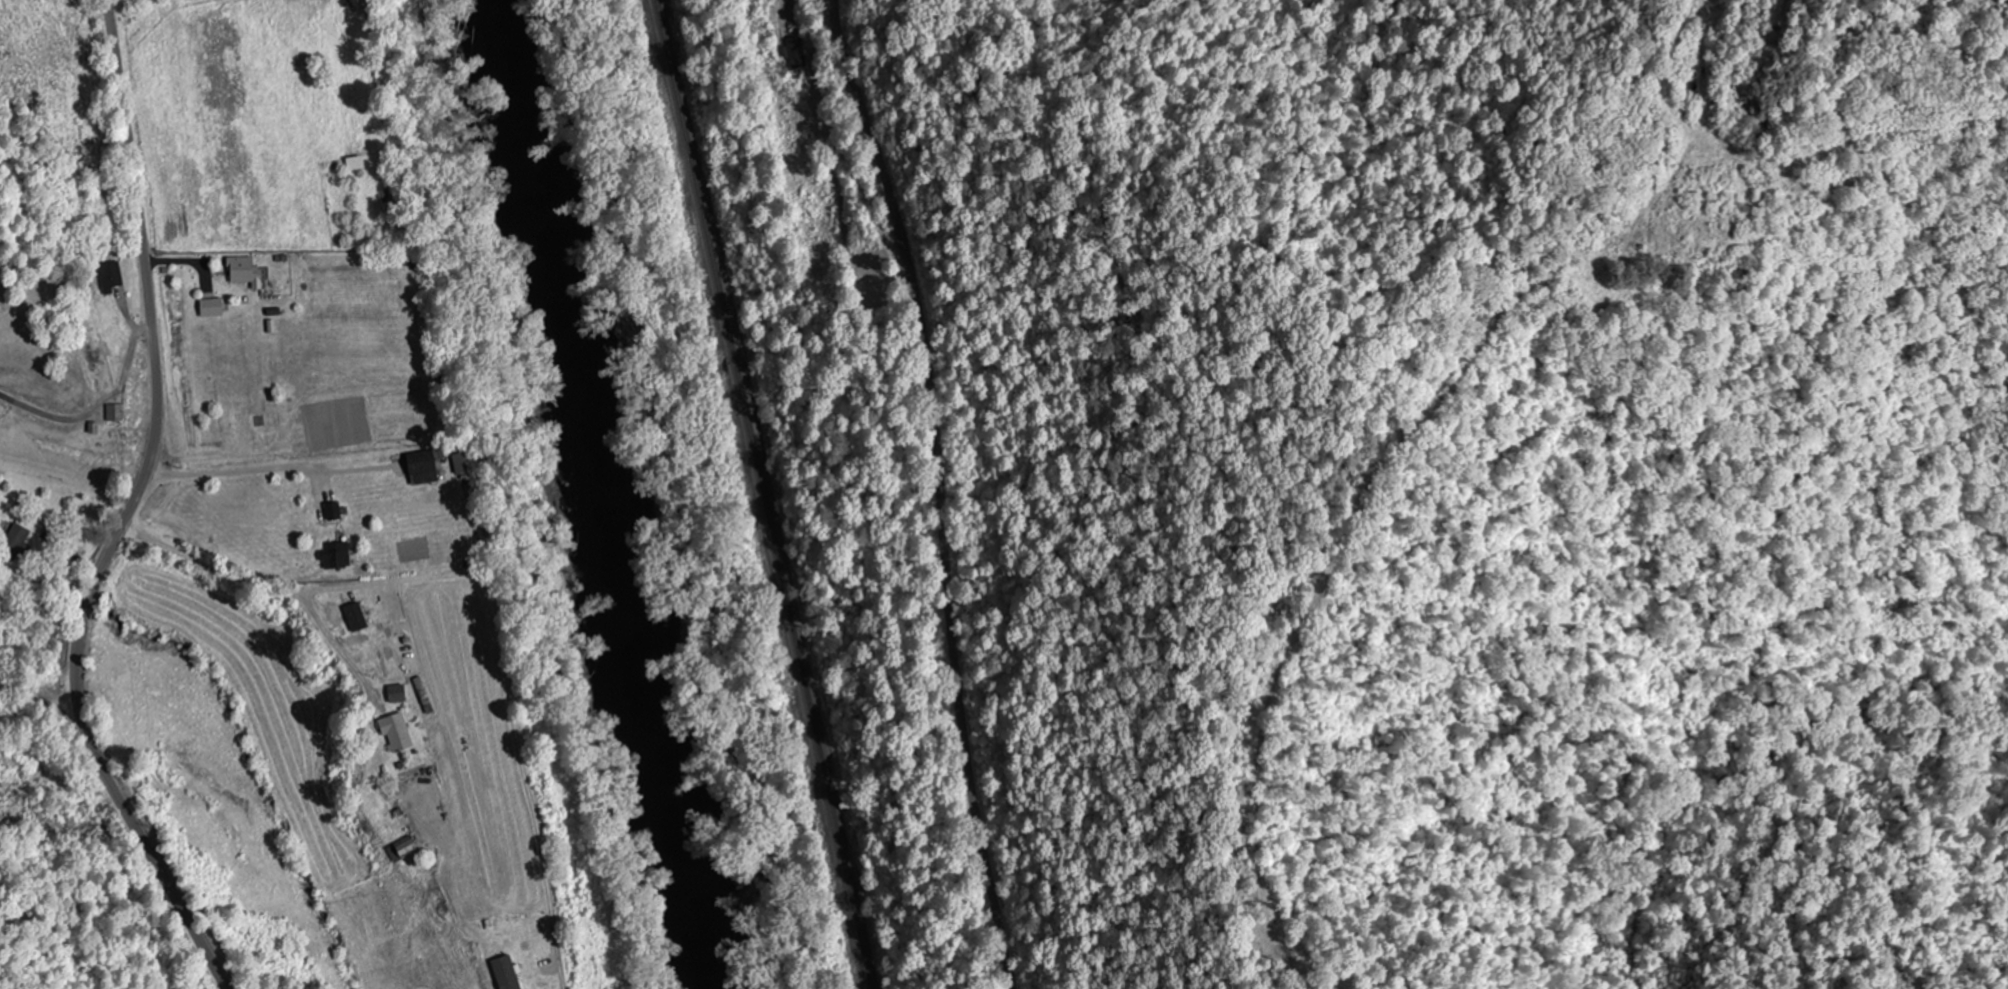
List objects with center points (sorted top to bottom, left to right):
building: (797, 53)
building: (245, 272)
building: (111, 278)
building: (212, 309)
building: (99, 356)
building: (115, 413)
building: (422, 463)
road: (1715, 482)
road: (940, 491)
river: (597, 492)
railway: (764, 494)
building: (333, 511)
road: (128, 514)
building: (15, 545)
building: (336, 556)
building: (397, 694)
building: (397, 734)
building: (15, 763)
building: (404, 848)
building: (516, 980)

